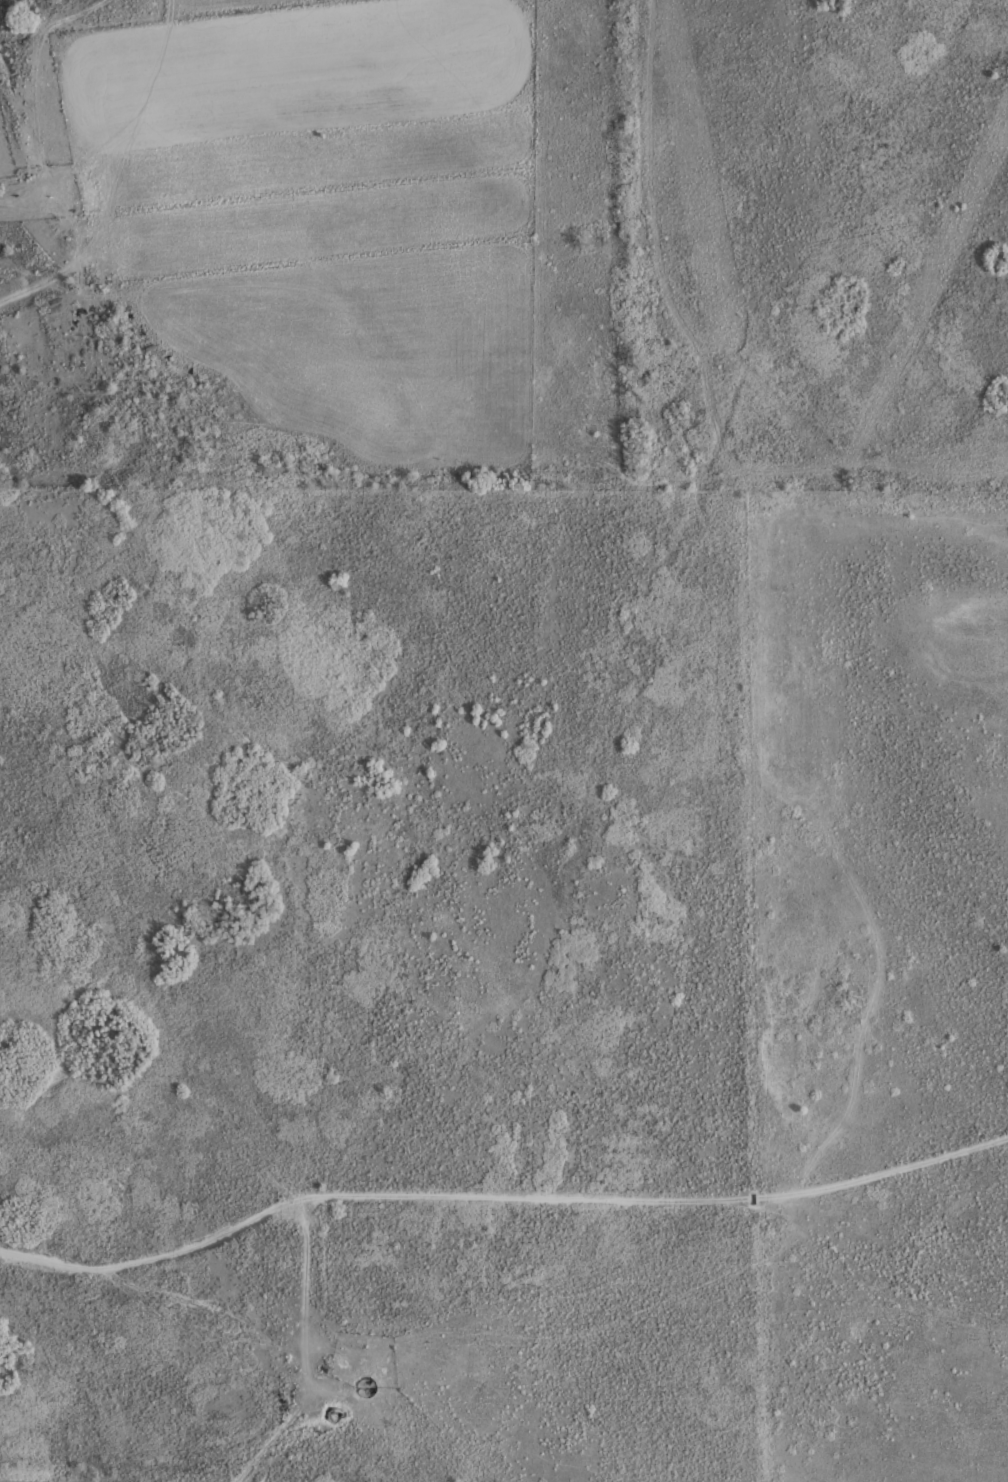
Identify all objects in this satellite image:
road: (501, 1200)

